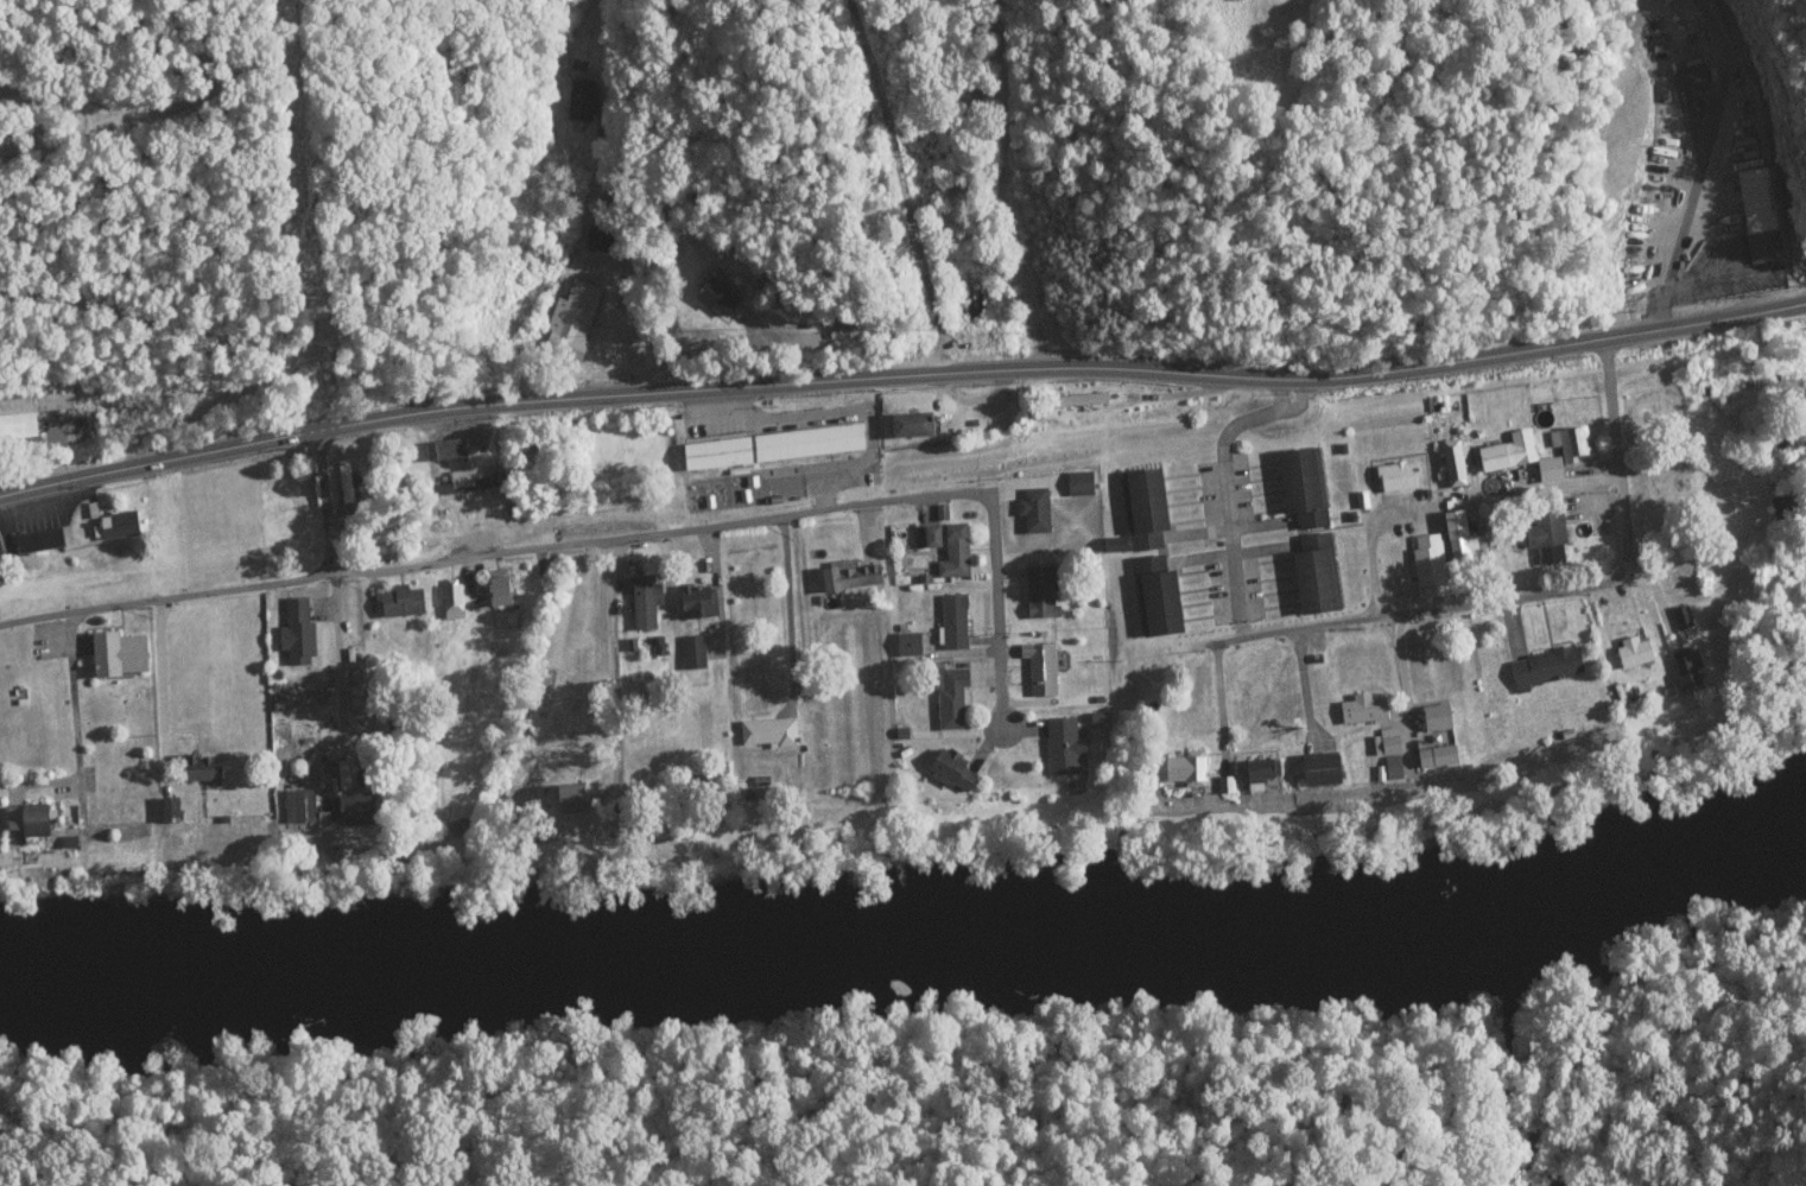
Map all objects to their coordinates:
building: (1662, 0)
building: (1694, 77)
building: (579, 100)
road: (1736, 159)
road: (133, 197)
road: (1438, 207)
building: (1757, 214)
road: (620, 262)
building: (716, 297)
building: (570, 319)
road: (697, 353)
road: (1064, 367)
building: (27, 412)
building: (911, 424)
road: (1561, 437)
building: (1570, 442)
building: (772, 445)
building: (1507, 450)
road: (156, 462)
building: (1453, 463)
building: (1548, 468)
road: (1224, 476)
building: (1395, 476)
building: (1526, 478)
building: (1078, 482)
building: (461, 486)
building: (1301, 486)
building: (1781, 505)
building: (1143, 507)
building: (1033, 509)
building: (118, 524)
building: (931, 534)
building: (1546, 535)
building: (1457, 537)
building: (37, 539)
road: (609, 541)
building: (1111, 544)
building: (953, 551)
road: (1516, 560)
building: (1428, 564)
building: (1314, 573)
building: (848, 575)
road: (332, 582)
road: (611, 588)
building: (1041, 589)
building: (498, 590)
building: (1155, 596)
building: (400, 601)
building: (450, 601)
building: (644, 601)
building: (697, 601)
road: (790, 614)
building: (1680, 616)
building: (952, 620)
road: (1469, 624)
building: (296, 632)
building: (906, 642)
building: (1633, 651)
building: (692, 652)
building: (116, 653)
building: (1544, 666)
building: (1039, 667)
building: (1685, 667)
building: (949, 697)
building: (1361, 708)
building: (1436, 716)
road: (1405, 719)
building: (768, 731)
building: (1388, 740)
building: (1060, 744)
building: (1436, 755)
building: (1392, 766)
building: (196, 767)
building: (1185, 767)
building: (1319, 768)
building: (950, 769)
building: (1257, 772)
building: (1224, 784)
building: (570, 797)
building: (298, 806)
building: (355, 807)
building: (167, 808)
building: (27, 819)
river: (912, 931)
railway: (908, 1098)

